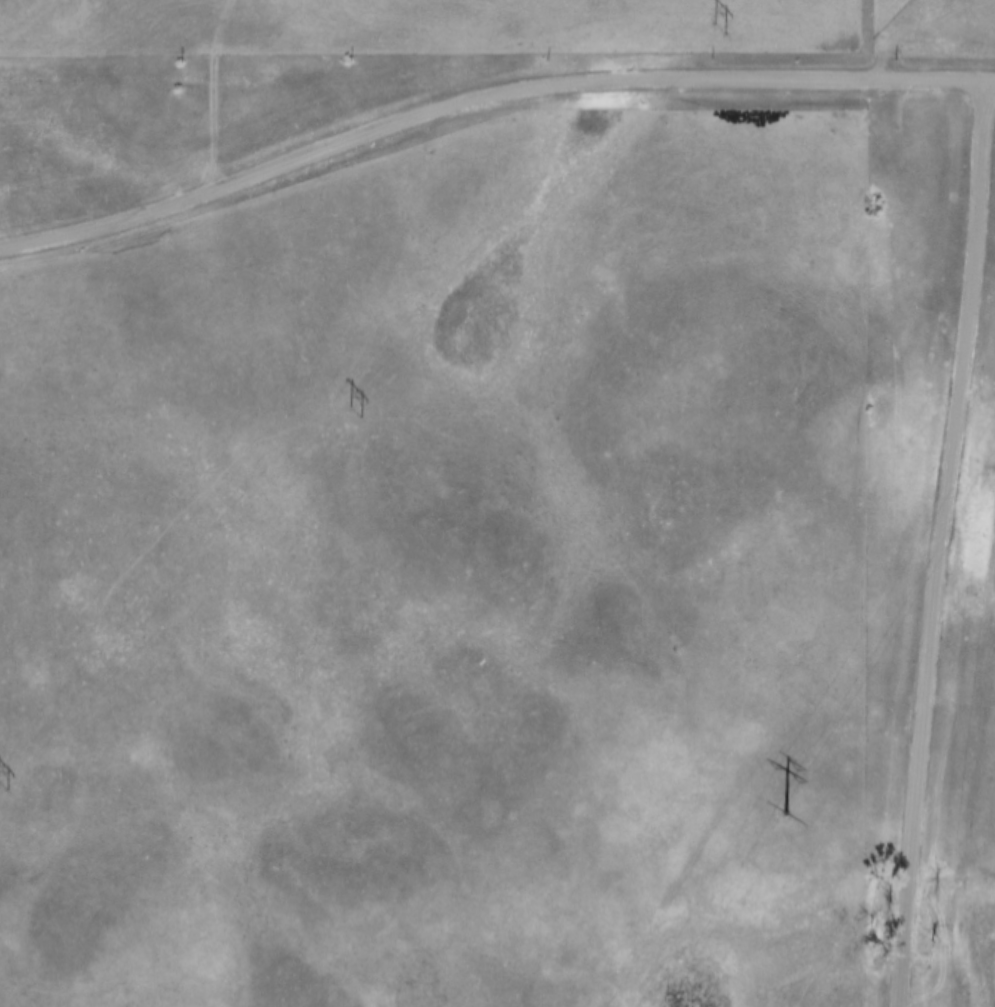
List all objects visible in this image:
power tower: (718, 30)
road: (486, 94)
power tower: (353, 415)
road: (942, 542)
power tower: (787, 808)

